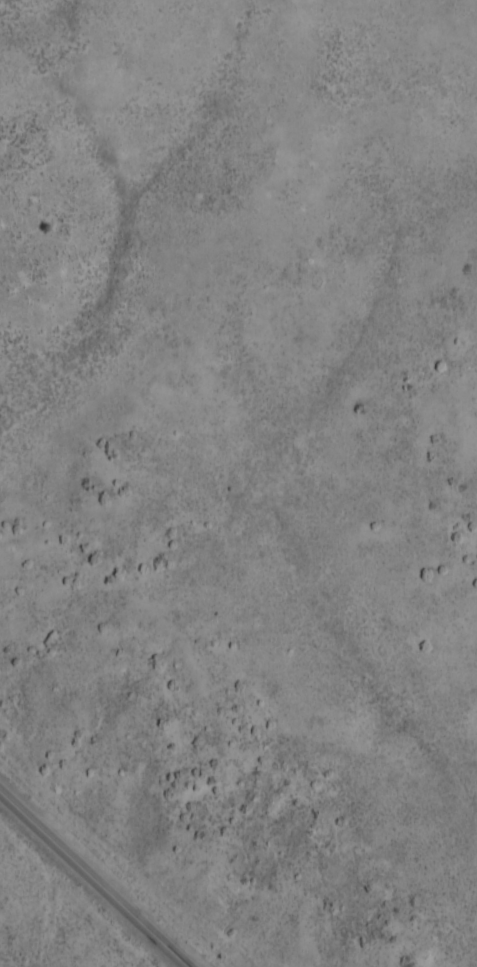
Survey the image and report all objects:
road: (95, 878)

